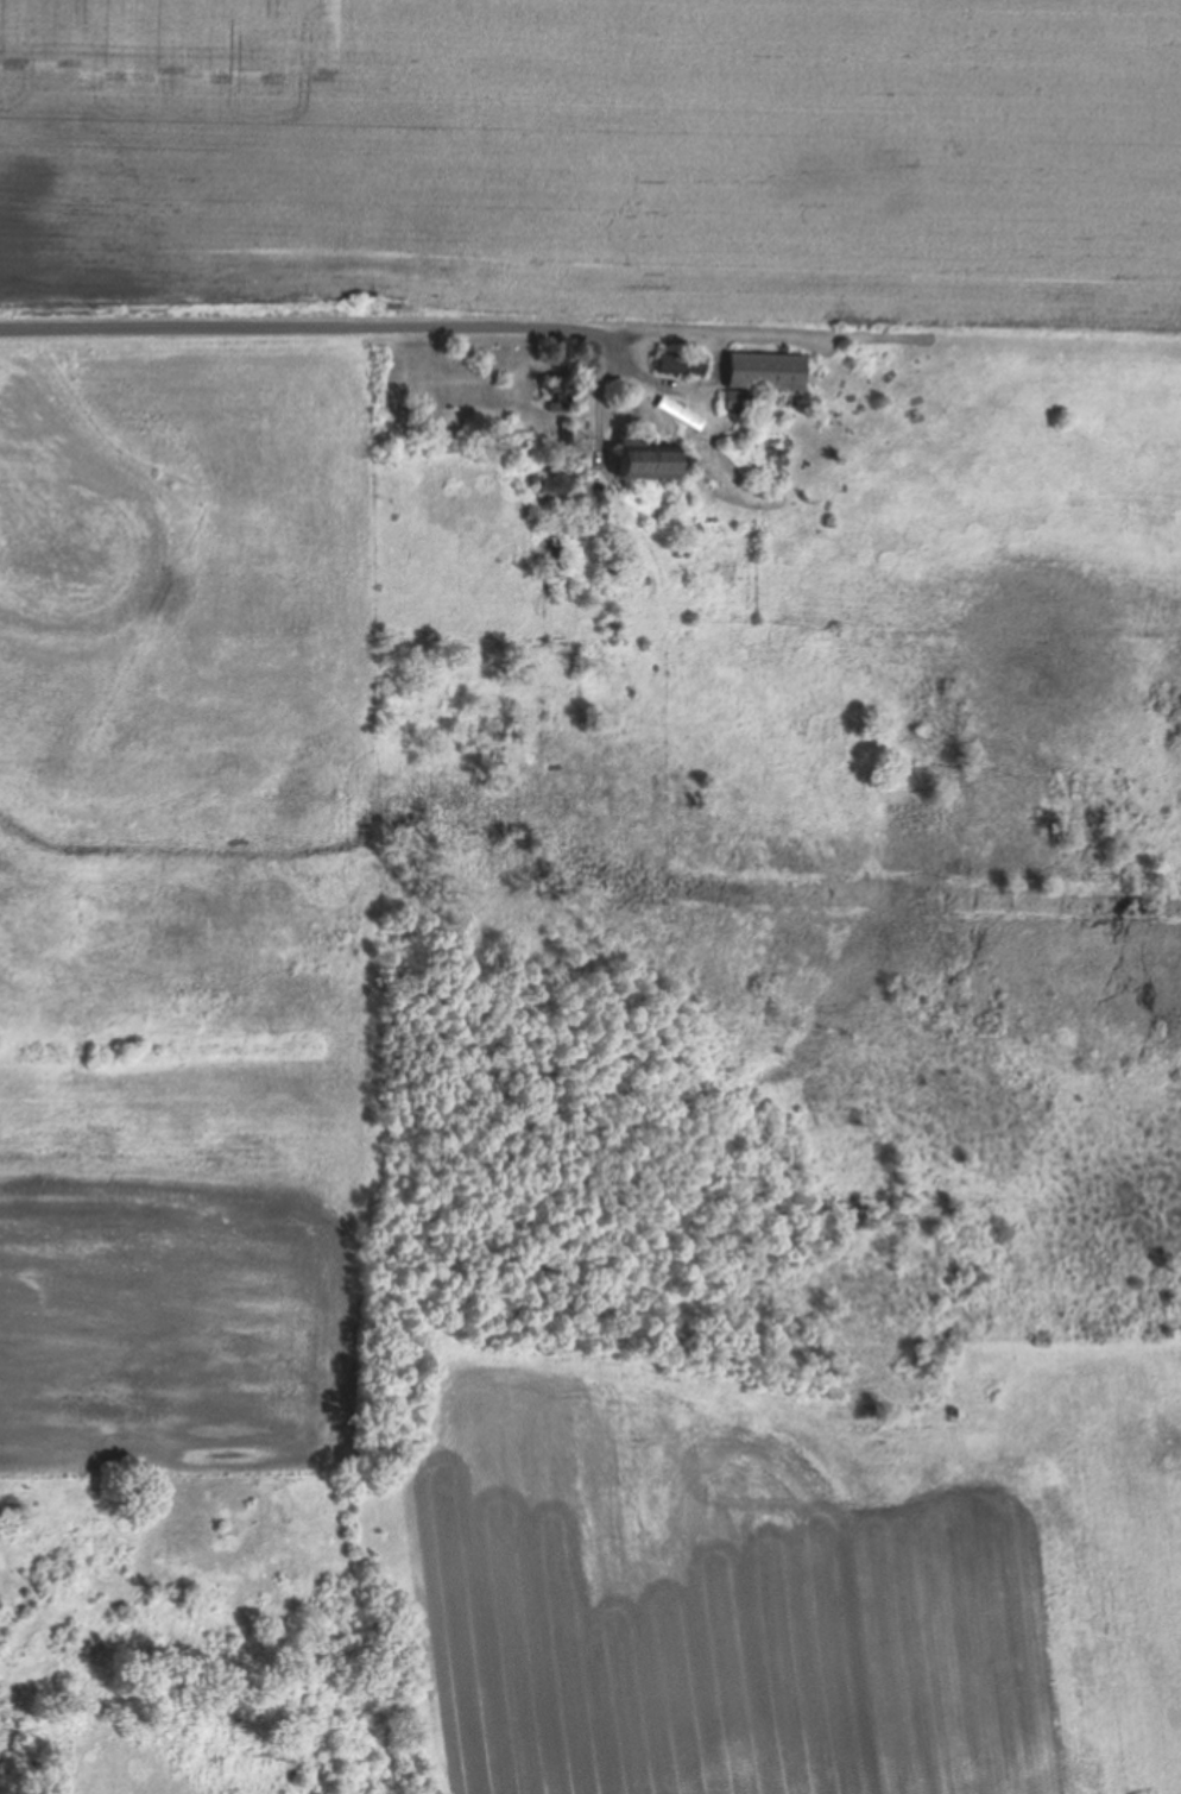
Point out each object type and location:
road: (269, 319)
building: (681, 361)
building: (765, 369)
building: (558, 394)
building: (735, 397)
building: (678, 411)
building: (646, 455)

